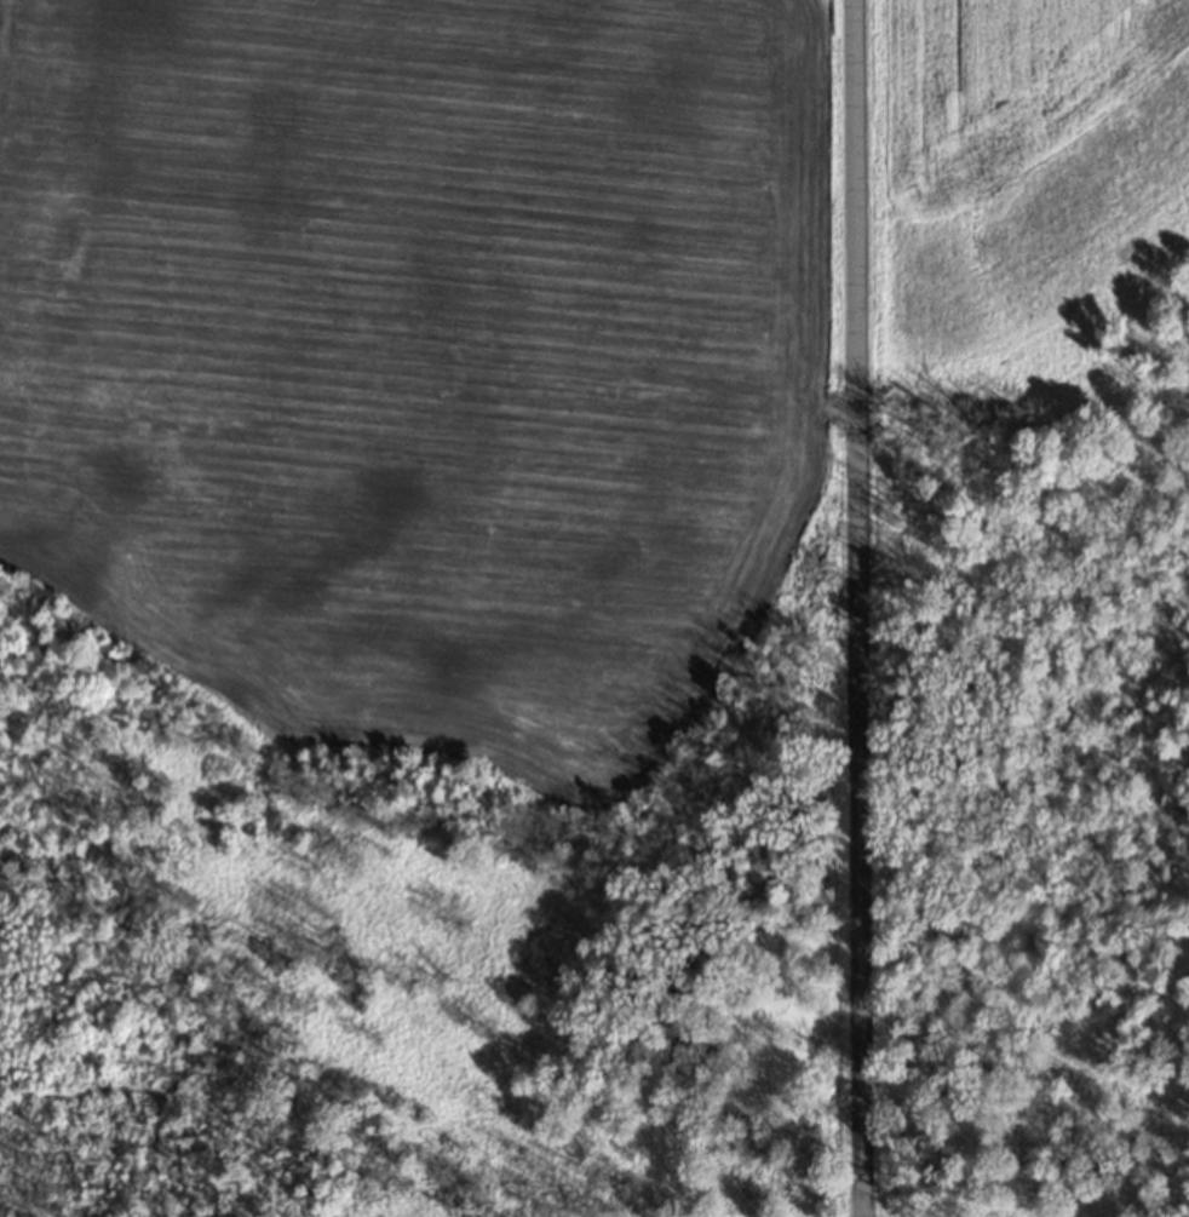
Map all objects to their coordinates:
road: (865, 608)

